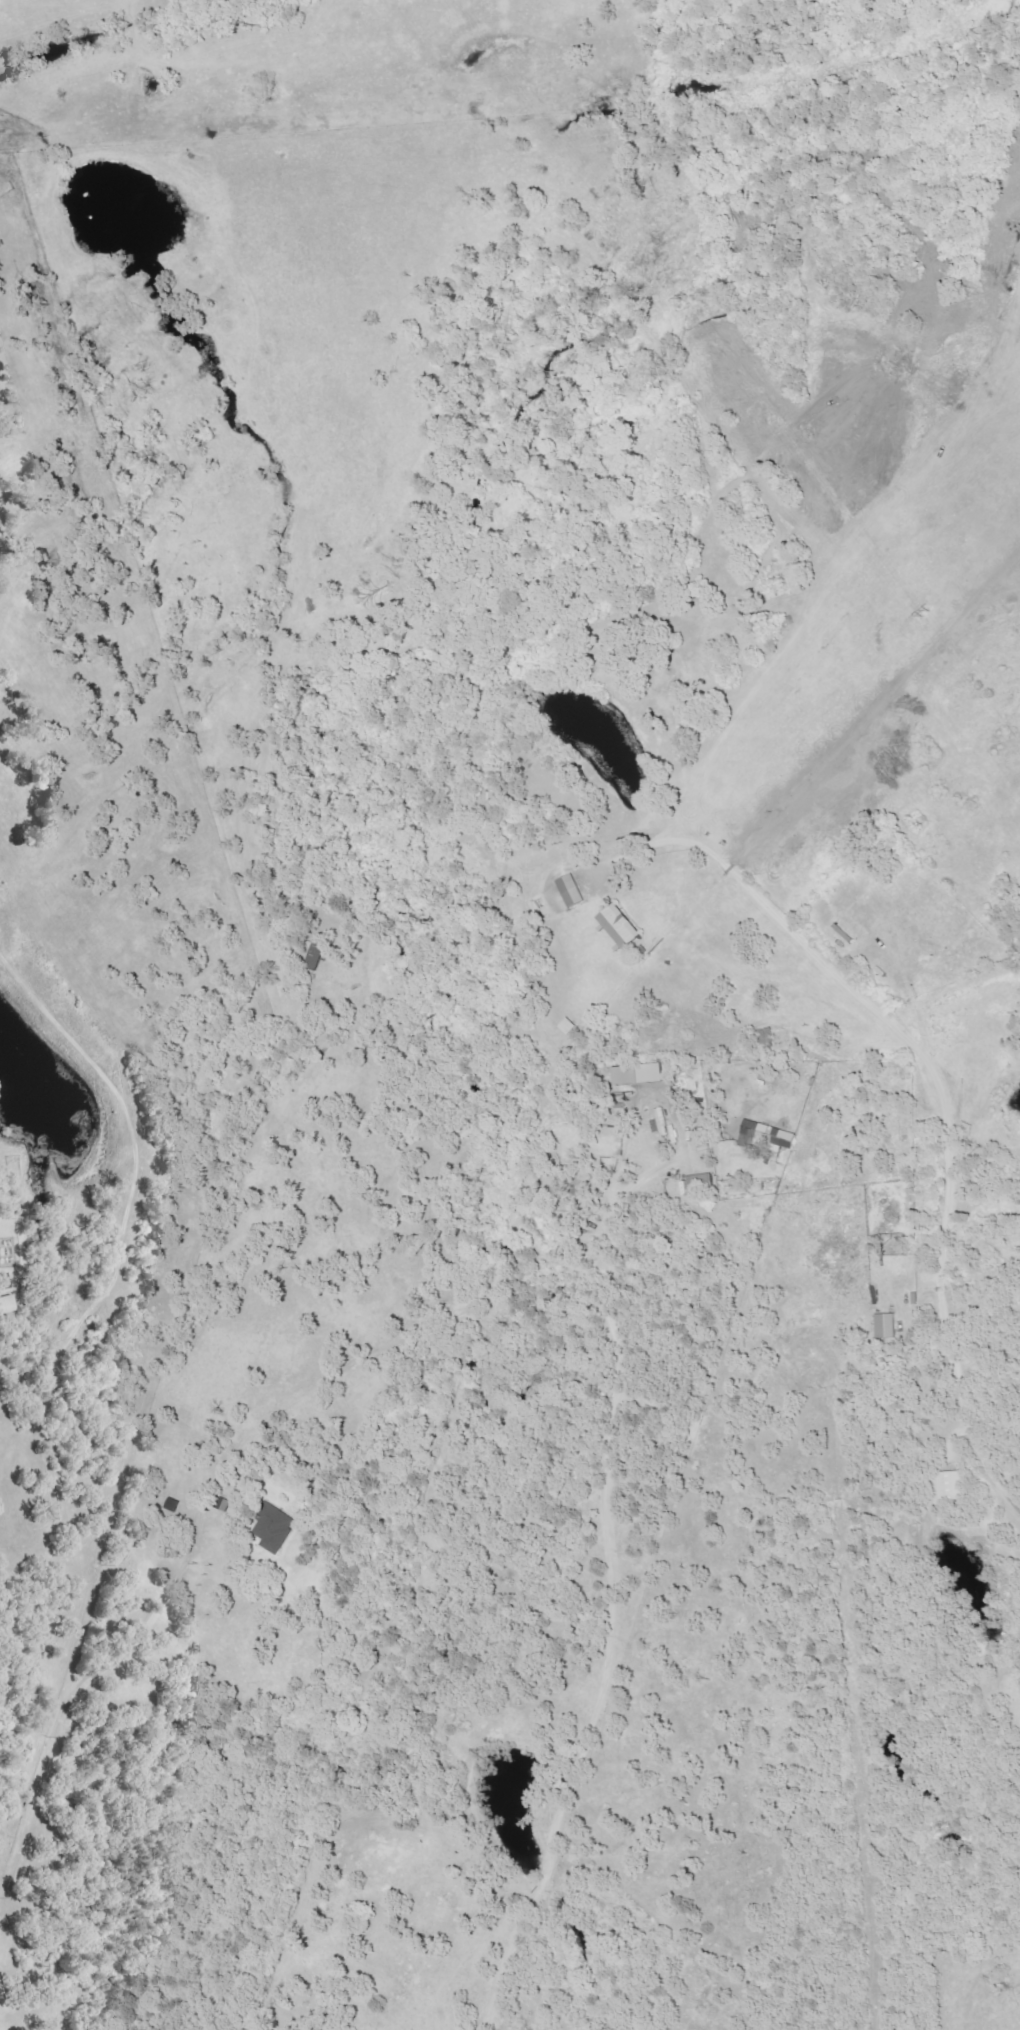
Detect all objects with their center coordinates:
power tower: (681, 299)
power tower: (924, 616)
building: (570, 892)
building: (619, 926)
building: (639, 1075)
road: (939, 1134)
building: (766, 1137)
building: (6, 1305)
building: (886, 1327)
building: (952, 1487)
building: (223, 1505)
building: (173, 1506)
building: (274, 1527)
road: (53, 1718)

